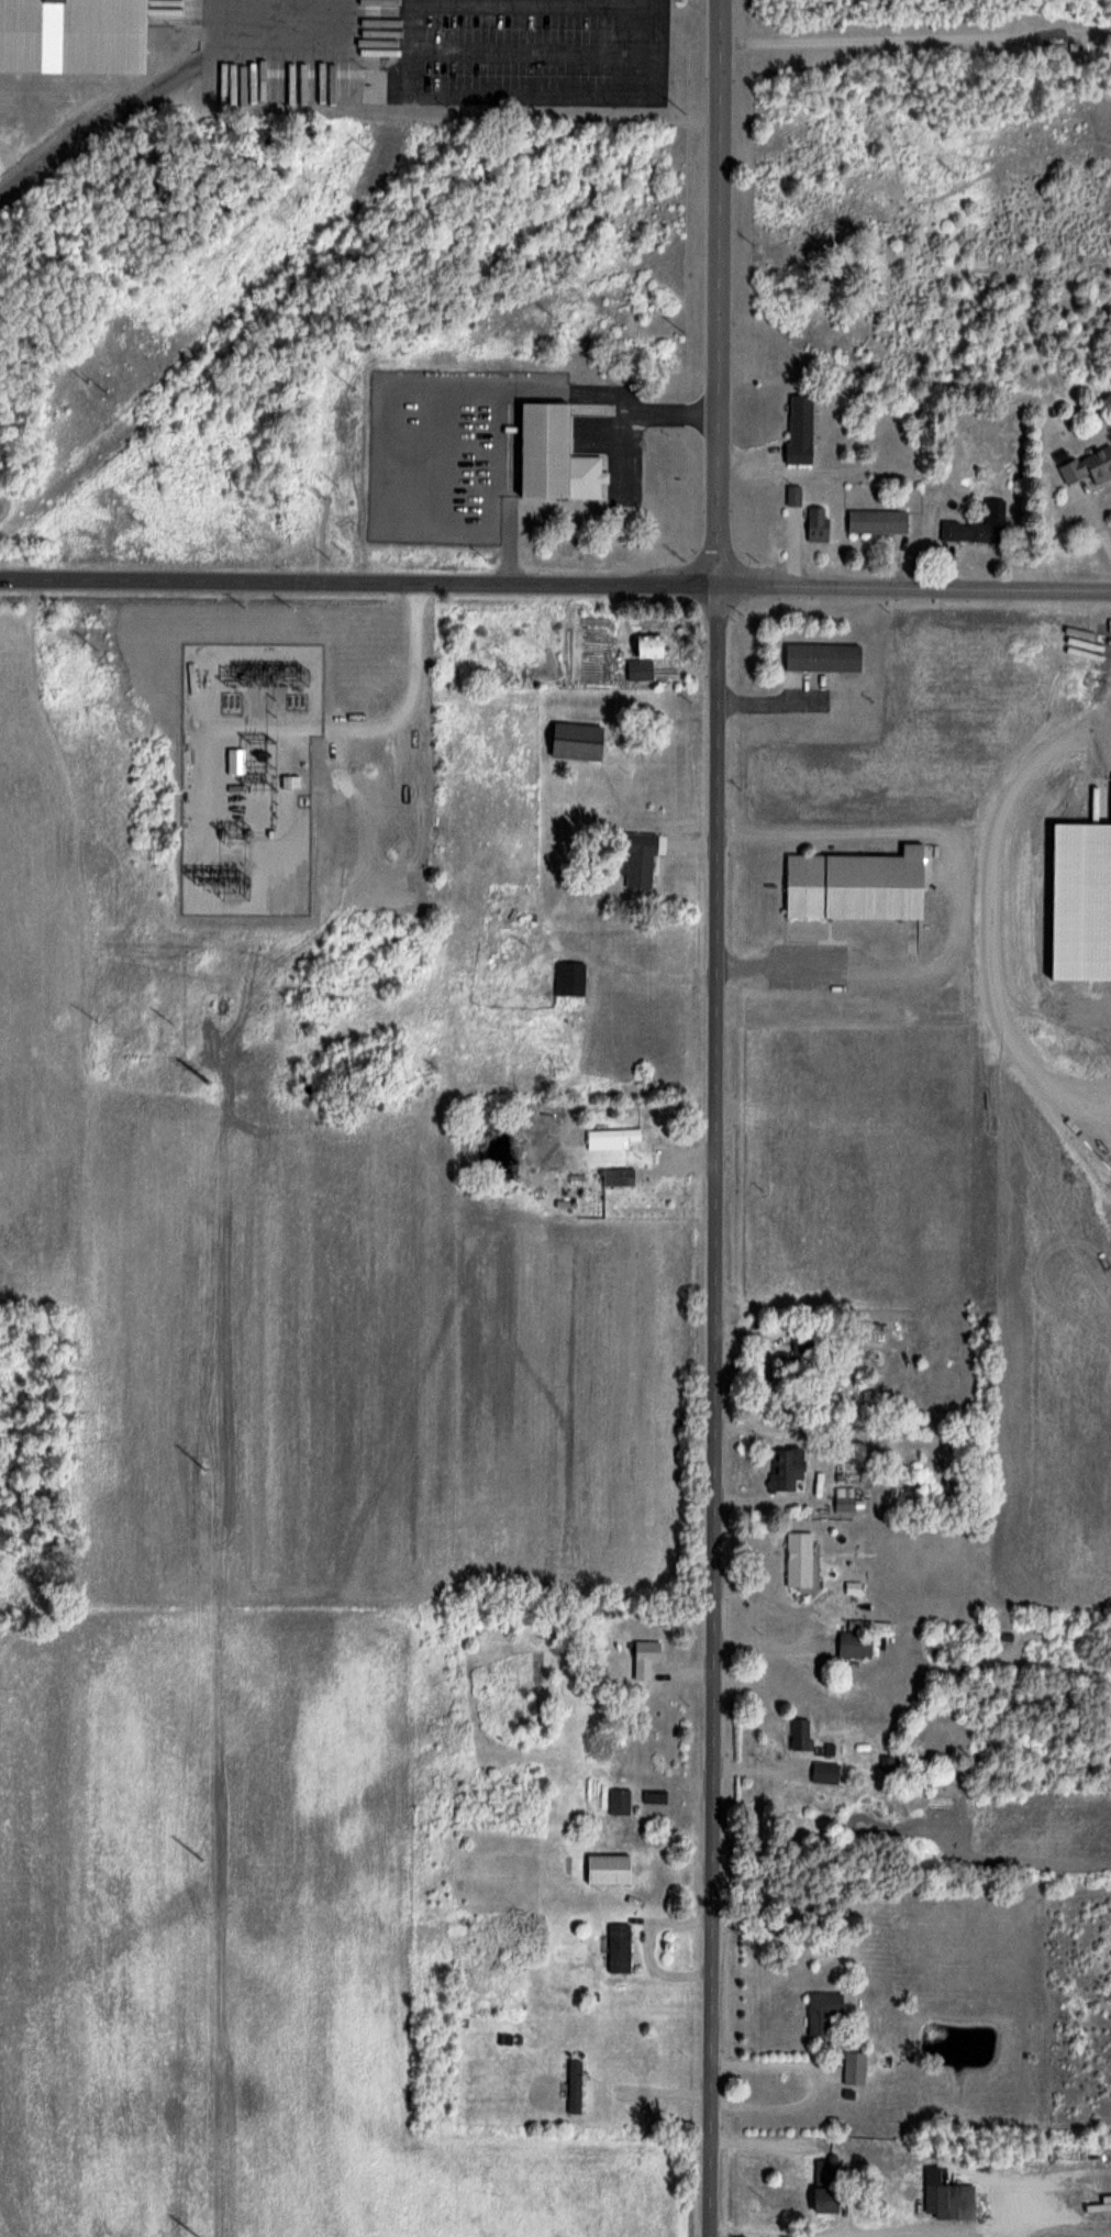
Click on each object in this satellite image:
building: (71, 37)
road: (331, 53)
road: (720, 292)
building: (799, 429)
building: (553, 455)
building: (1088, 466)
building: (795, 495)
building: (877, 521)
building: (818, 522)
building: (978, 525)
road: (555, 583)
building: (644, 655)
building: (821, 657)
road: (411, 693)
road: (334, 732)
building: (576, 741)
power substation: (246, 778)
building: (288, 784)
building: (640, 860)
building: (855, 885)
road: (958, 901)
building: (1079, 902)
building: (569, 979)
power tower: (204, 1082)
building: (613, 1136)
building: (620, 1175)
building: (795, 1359)
road: (720, 1410)
power tower: (202, 1468)
building: (786, 1469)
building: (799, 1559)
building: (852, 1583)
building: (855, 1646)
building: (645, 1659)
building: (800, 1735)
building: (891, 1762)
building: (825, 1772)
building: (655, 1796)
building: (620, 1803)
power tower: (201, 1858)
building: (609, 1870)
building: (620, 1948)
building: (822, 2014)
building: (855, 2068)
building: (575, 2086)
building: (825, 2171)
building: (943, 2197)
building: (823, 2200)
power tower: (201, 2236)

